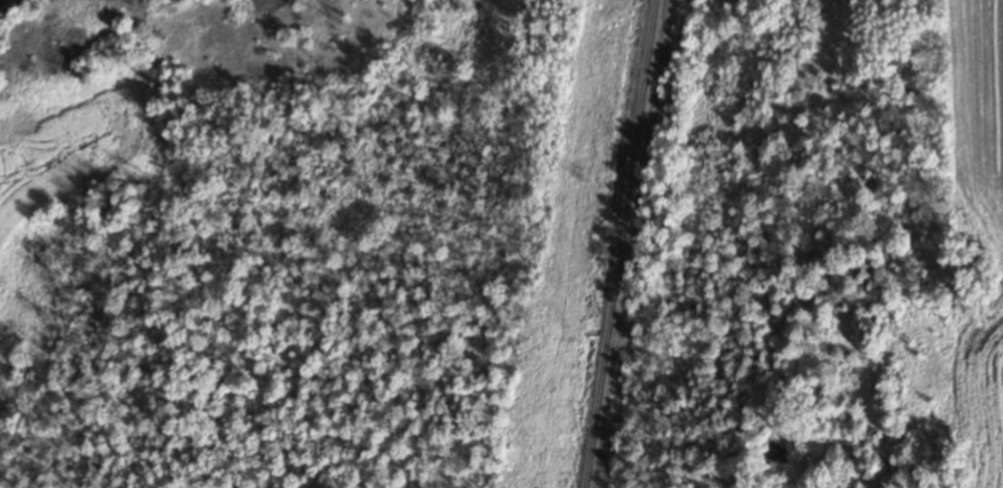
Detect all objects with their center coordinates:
railway: (625, 244)

